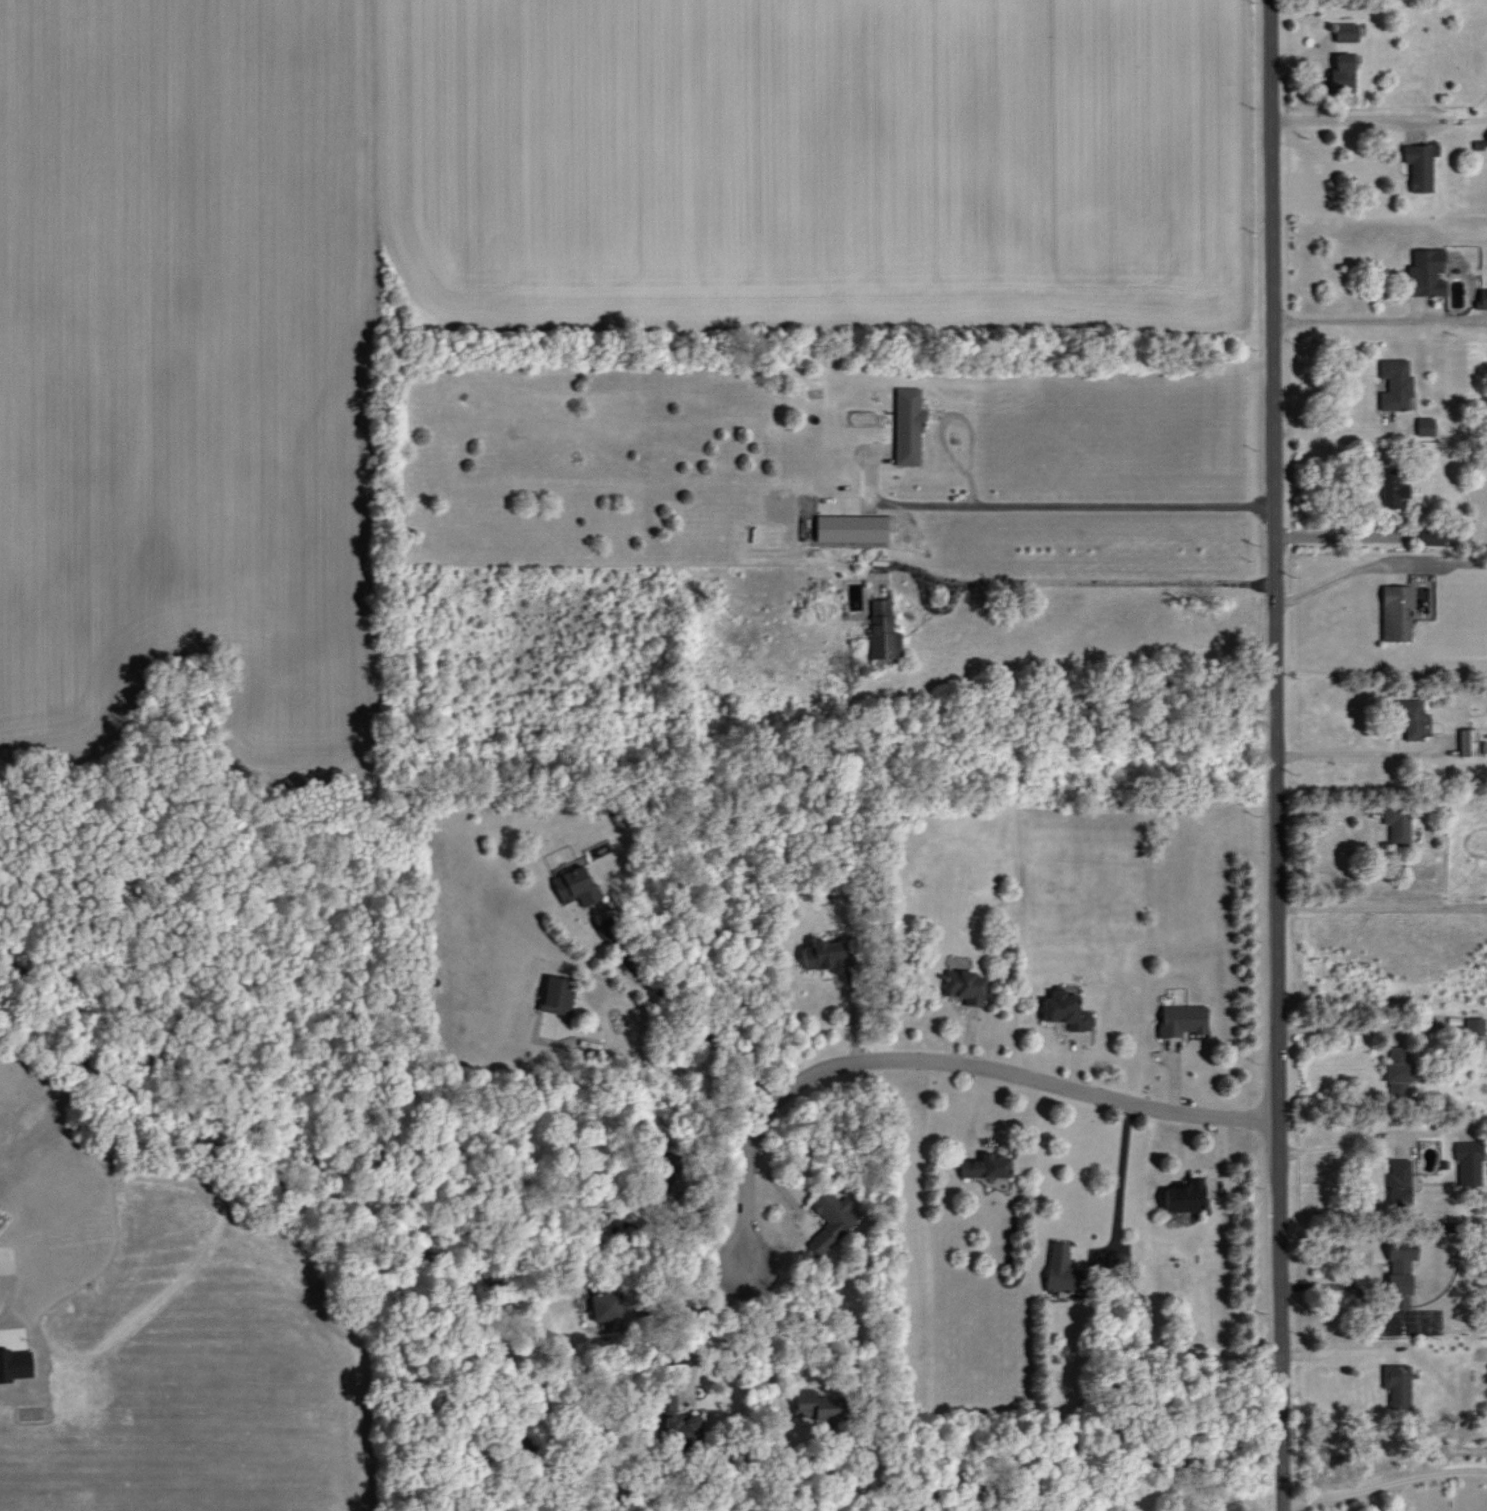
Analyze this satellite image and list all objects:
building: (1346, 32)
building: (1342, 73)
road: (1339, 120)
building: (1420, 165)
building: (1426, 273)
building: (1482, 298)
road: (1340, 321)
building: (1395, 384)
road: (963, 415)
building: (1425, 426)
building: (908, 427)
road: (1329, 431)
building: (1392, 488)
road: (1054, 506)
building: (851, 528)
building: (1431, 538)
road: (1357, 568)
road: (1102, 582)
building: (1396, 613)
building: (883, 631)
building: (1410, 718)
building: (1468, 742)
road: (1273, 755)
road: (1362, 755)
building: (1396, 824)
building: (576, 887)
road: (1380, 907)
building: (825, 954)
building: (965, 986)
building: (557, 995)
building: (1065, 1010)
road: (684, 1018)
building: (1182, 1020)
building: (1474, 1026)
road: (1352, 1028)
road: (932, 1061)
building: (1398, 1071)
road: (1332, 1147)
building: (1469, 1164)
building: (986, 1167)
building: (670, 1178)
building: (1399, 1182)
road: (1119, 1185)
road: (779, 1186)
building: (1185, 1195)
building: (831, 1220)
building: (1062, 1270)
building: (1400, 1273)
road: (1338, 1286)
building: (606, 1306)
road: (765, 1343)
road: (1330, 1346)
building: (15, 1364)
building: (1397, 1385)
building: (817, 1405)
building: (678, 1421)
road: (1382, 1483)

